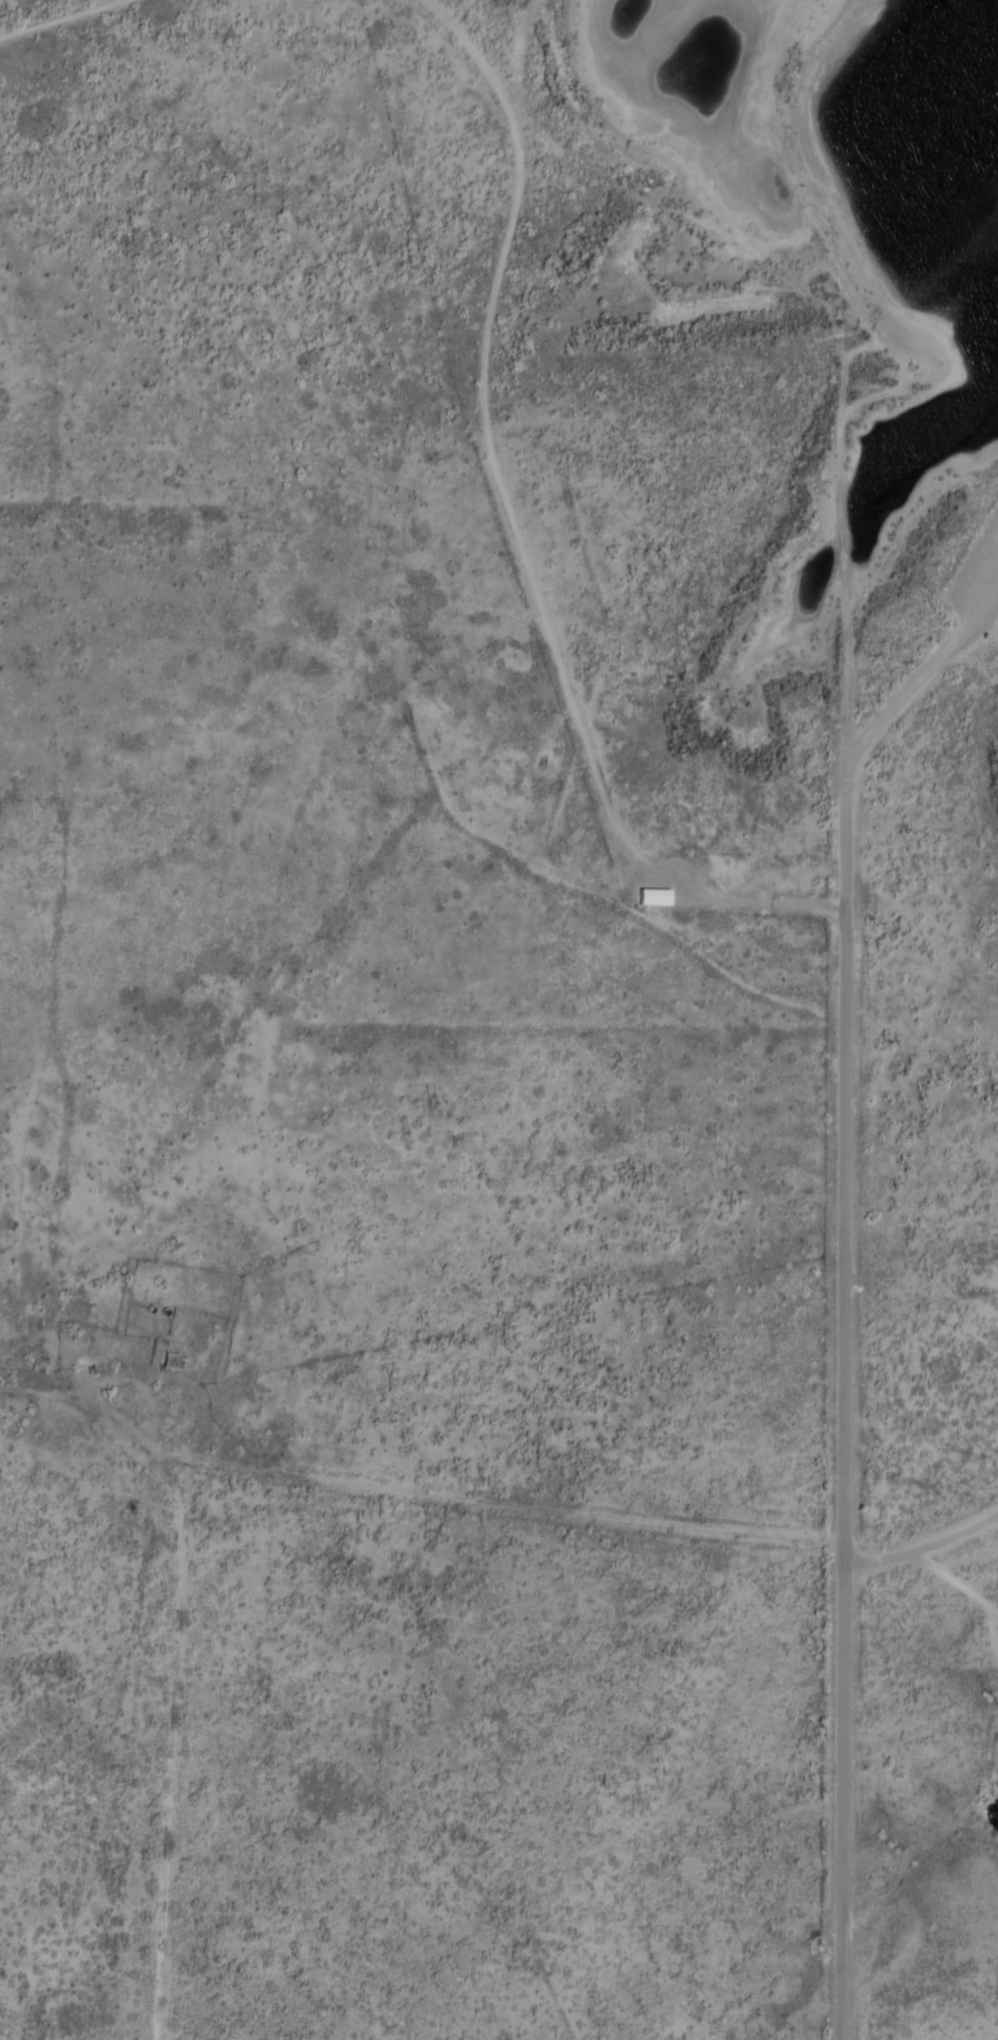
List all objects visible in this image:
road: (48, 10)
road: (526, 529)
building: (655, 899)
road: (843, 1280)
building: (175, 1363)
road: (161, 1686)

